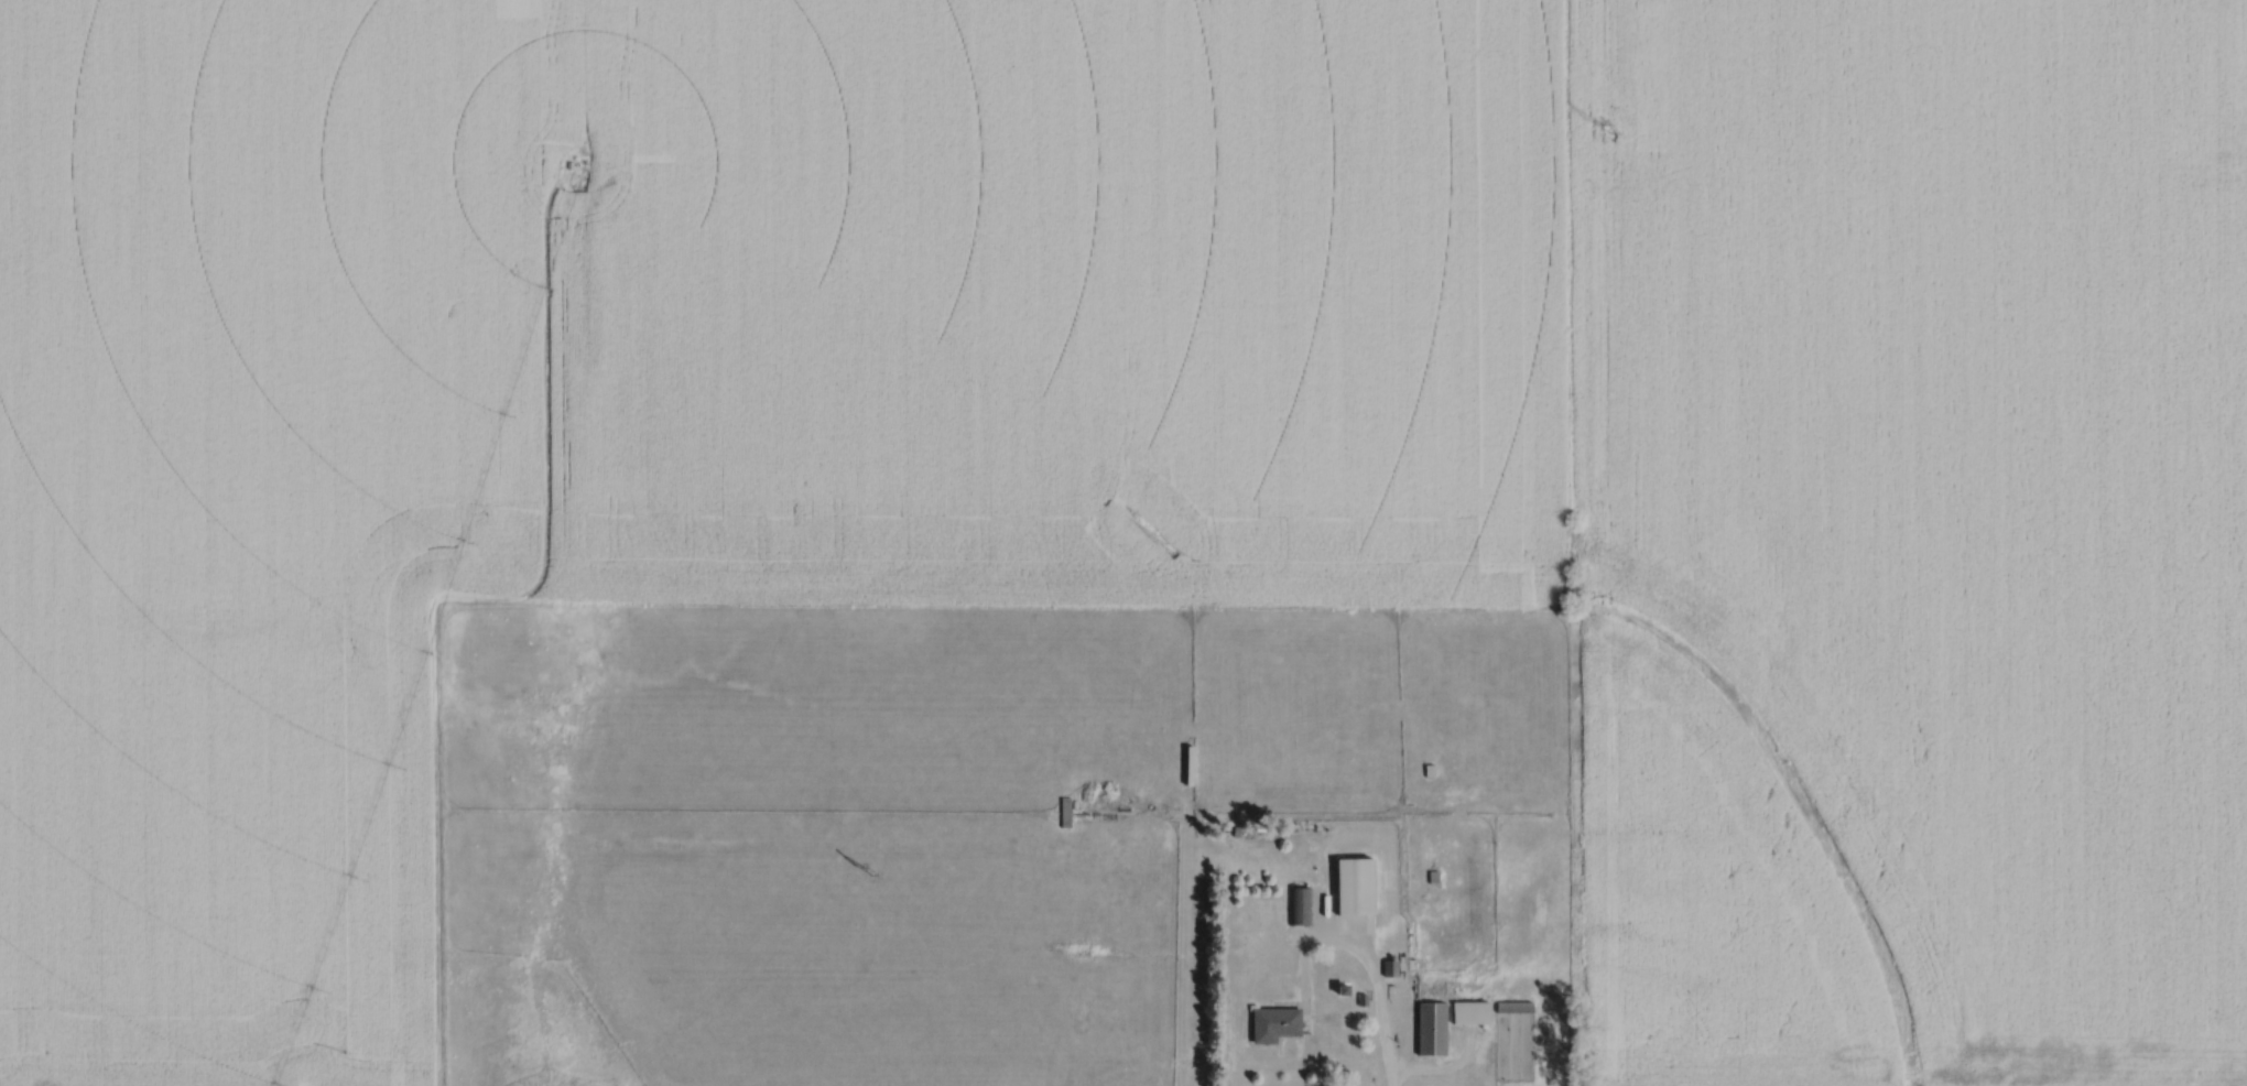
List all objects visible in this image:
power tower: (1607, 127)
power tower: (1173, 547)
building: (1067, 810)
power tower: (869, 870)
building: (1361, 884)
building: (1302, 904)
road: (1371, 963)
building: (1519, 1004)
building: (1477, 1011)
building: (1279, 1021)
building: (1436, 1027)

